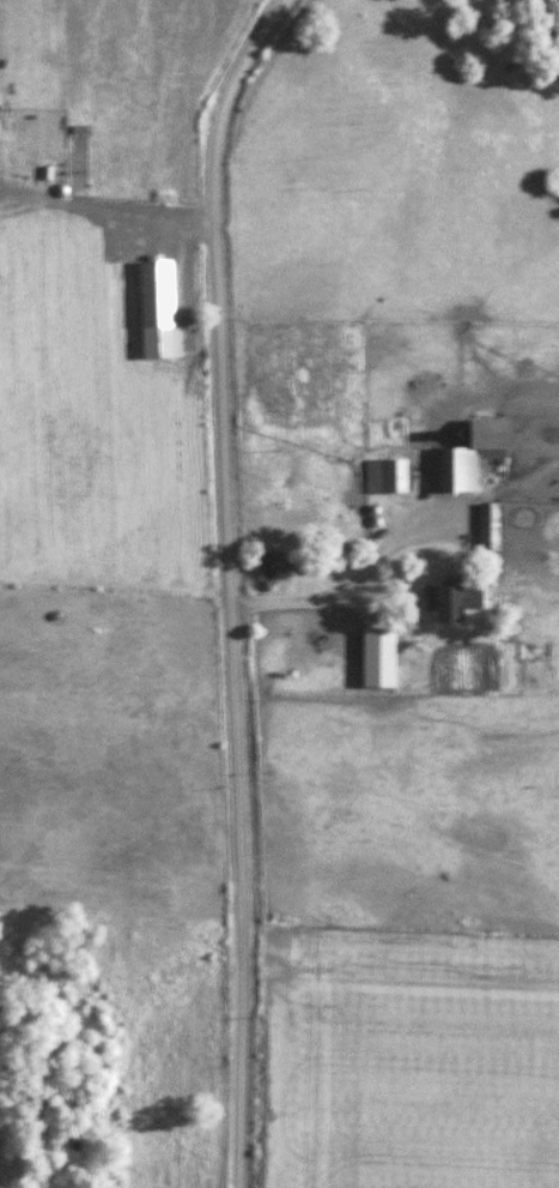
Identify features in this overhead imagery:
road: (115, 218)
building: (468, 457)
building: (387, 476)
building: (490, 526)
building: (267, 567)
road: (229, 584)
road: (303, 601)
building: (452, 601)
building: (535, 651)
building: (378, 656)

